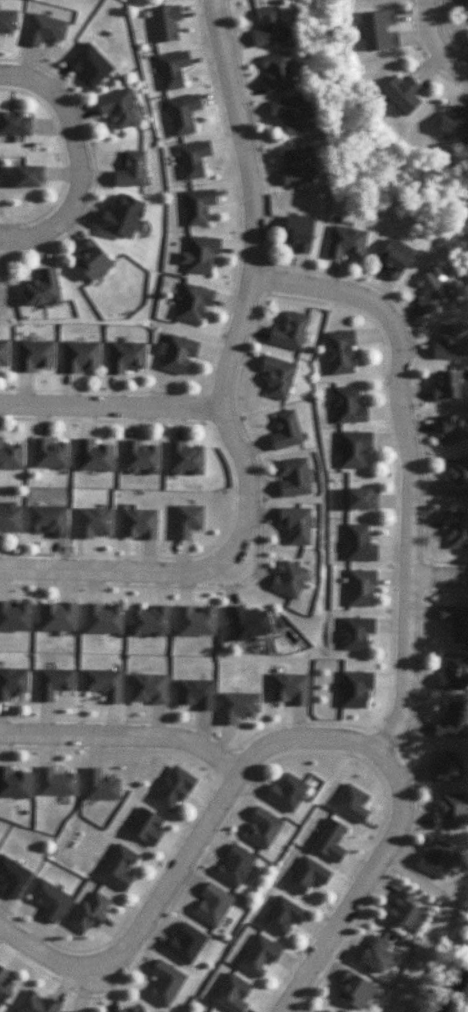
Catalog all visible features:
building: (8, 21)
building: (165, 23)
building: (268, 26)
building: (44, 30)
building: (377, 30)
road: (435, 44)
building: (90, 64)
building: (173, 69)
building: (277, 72)
road: (59, 92)
building: (401, 94)
building: (118, 108)
building: (183, 114)
building: (290, 114)
building: (455, 123)
building: (14, 124)
building: (194, 158)
building: (298, 166)
building: (132, 170)
building: (26, 176)
building: (198, 206)
building: (122, 216)
road: (68, 221)
building: (298, 232)
building: (346, 242)
building: (200, 254)
building: (394, 257)
building: (92, 261)
road: (256, 280)
building: (42, 289)
building: (432, 289)
building: (193, 304)
building: (290, 331)
building: (451, 342)
building: (4, 352)
building: (340, 352)
building: (176, 353)
building: (35, 354)
building: (80, 356)
building: (126, 356)
building: (278, 377)
building: (446, 386)
building: (348, 405)
road: (113, 409)
building: (451, 429)
building: (286, 430)
building: (354, 449)
building: (49, 454)
building: (11, 456)
building: (94, 456)
building: (140, 457)
building: (185, 458)
road: (402, 466)
building: (294, 477)
building: (457, 478)
building: (360, 498)
building: (10, 517)
building: (48, 520)
building: (187, 520)
building: (94, 522)
building: (139, 523)
building: (296, 524)
building: (456, 529)
building: (358, 543)
road: (119, 571)
road: (436, 576)
building: (289, 579)
building: (360, 588)
building: (15, 616)
building: (57, 616)
building: (103, 619)
building: (149, 621)
building: (195, 621)
building: (248, 622)
building: (456, 622)
building: (356, 632)
building: (453, 672)
building: (13, 682)
building: (54, 682)
building: (104, 684)
building: (148, 688)
building: (289, 688)
building: (355, 688)
building: (195, 693)
building: (237, 706)
building: (453, 721)
road: (124, 739)
building: (446, 767)
building: (56, 782)
building: (14, 783)
building: (100, 785)
building: (172, 789)
building: (286, 793)
building: (351, 803)
building: (450, 811)
building: (145, 826)
building: (263, 828)
building: (329, 840)
building: (436, 859)
building: (235, 865)
building: (118, 867)
road: (177, 867)
building: (307, 875)
building: (13, 877)
road: (360, 882)
building: (49, 899)
building: (212, 905)
building: (402, 909)
building: (89, 913)
building: (282, 915)
road: (451, 920)
building: (185, 943)
park: (432, 953)
building: (374, 954)
building: (259, 956)
building: (165, 983)
building: (4, 985)
building: (354, 990)
building: (231, 993)
building: (37, 1003)
building: (134, 1009)
building: (207, 1011)
building: (324, 1011)

